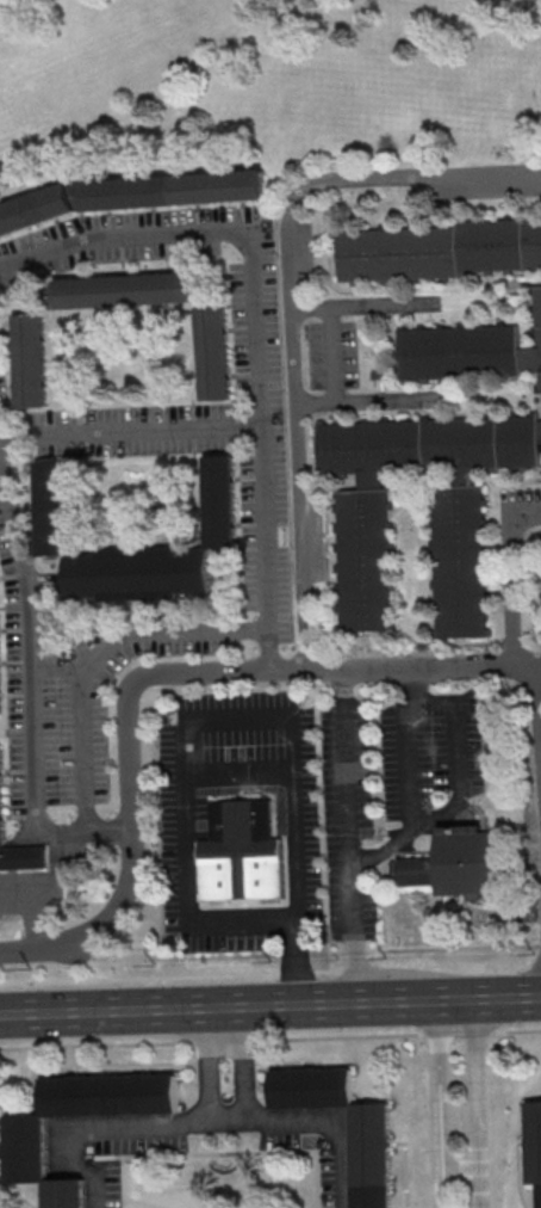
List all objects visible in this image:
road: (216, 238)
building: (440, 249)
building: (122, 289)
road: (369, 310)
building: (461, 350)
building: (211, 352)
building: (27, 359)
road: (340, 359)
road: (375, 405)
road: (131, 434)
road: (304, 485)
building: (50, 504)
road: (267, 551)
building: (363, 551)
road: (509, 577)
road: (97, 658)
road: (209, 676)
road: (540, 688)
road: (31, 697)
road: (15, 732)
road: (454, 753)
road: (182, 763)
road: (237, 771)
road: (411, 782)
building: (1, 795)
building: (245, 857)
building: (462, 868)
road: (41, 901)
road: (52, 954)
road: (273, 970)
road: (270, 1005)
road: (270, 1038)
road: (241, 1064)
road: (207, 1065)
road: (440, 1103)
road: (478, 1103)
road: (201, 1122)
building: (533, 1146)
building: (26, 1150)
building: (369, 1159)
road: (461, 1171)

